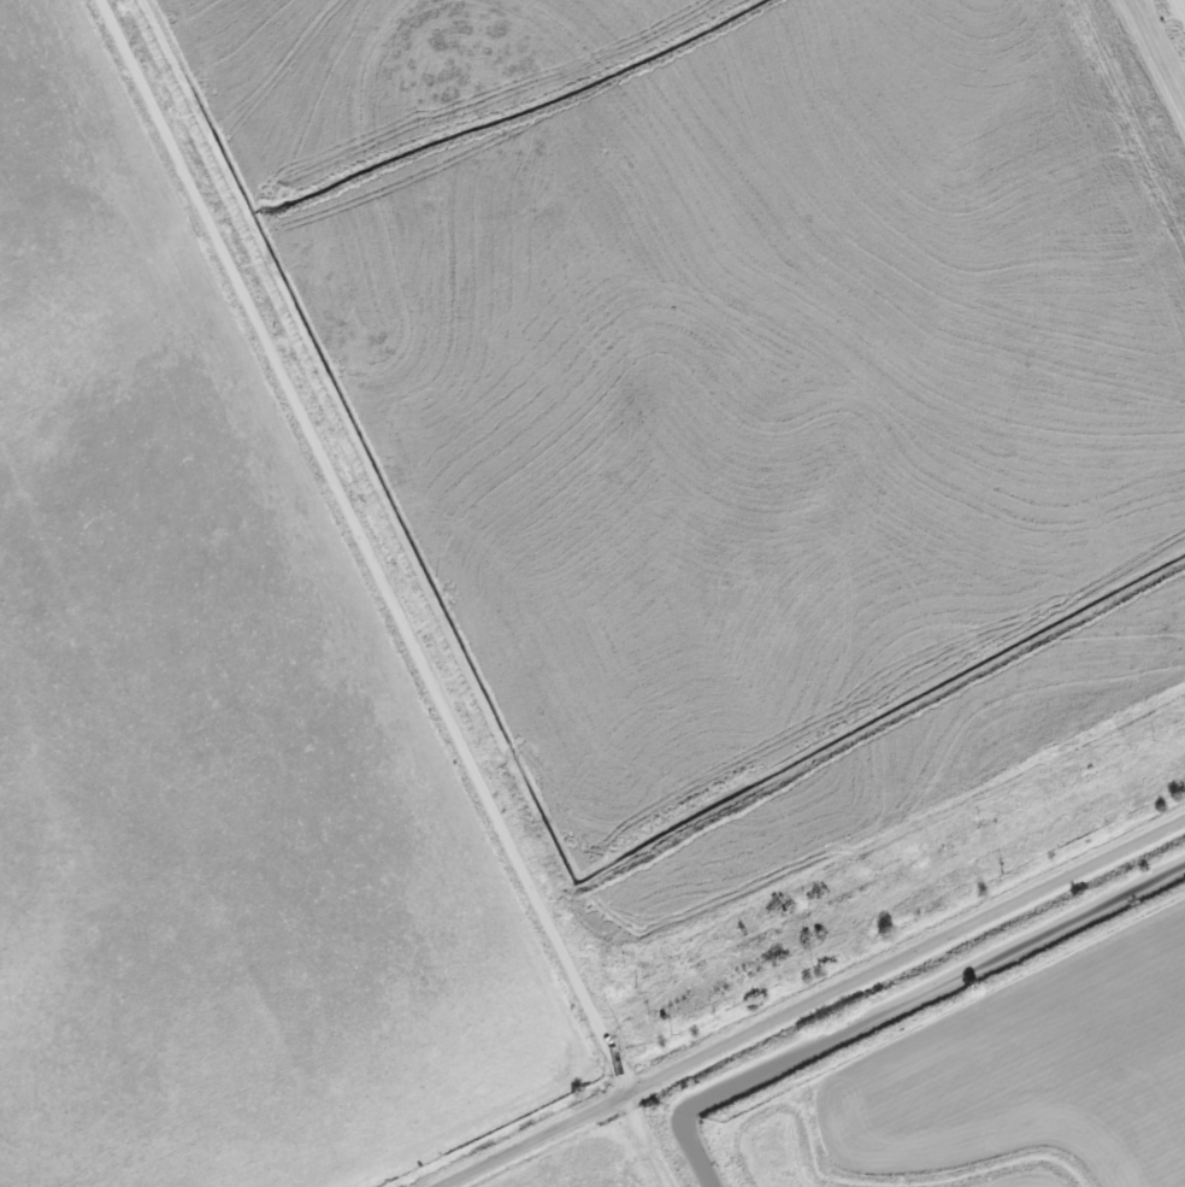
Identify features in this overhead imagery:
road: (382, 594)
road: (901, 957)
road: (529, 1140)

